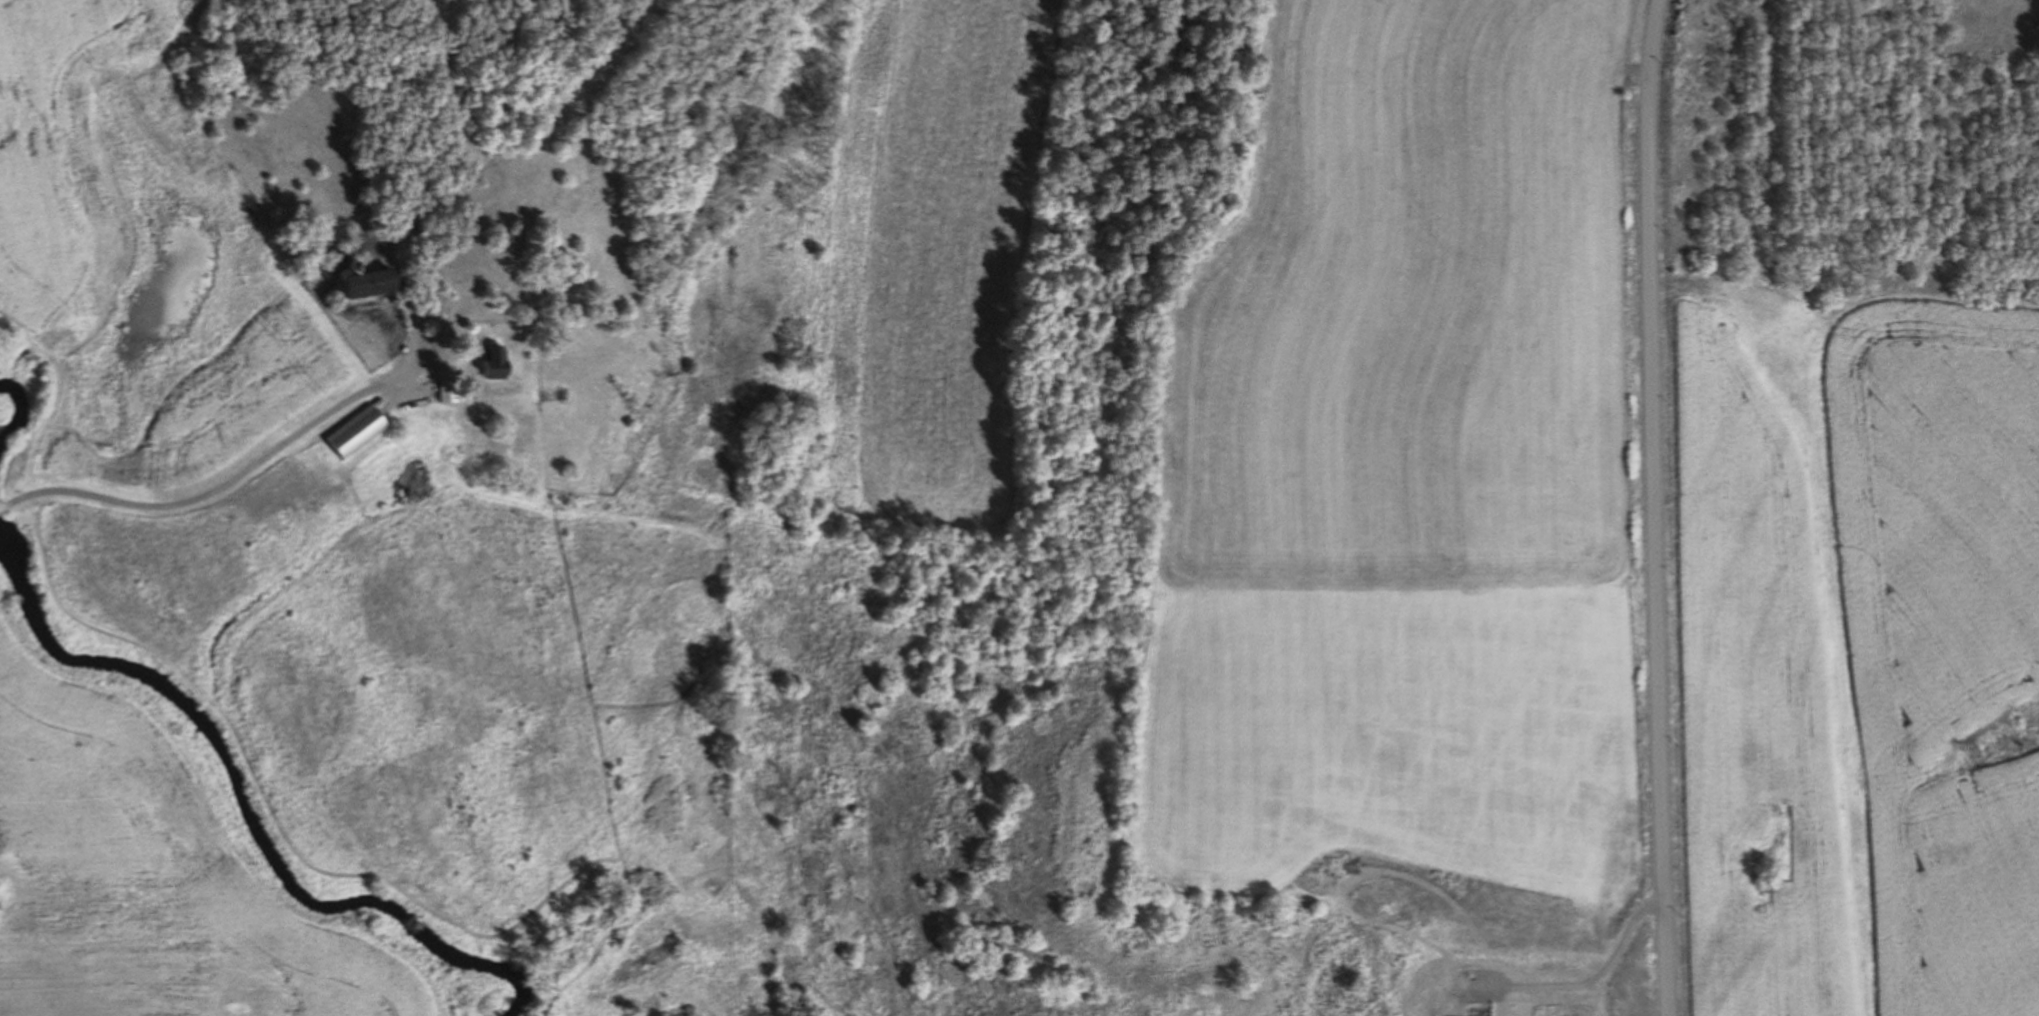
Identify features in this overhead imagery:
building: (376, 284)
building: (500, 363)
building: (450, 391)
building: (556, 394)
river: (26, 400)
building: (359, 431)
road: (207, 465)
road: (1655, 507)
river: (233, 799)
building: (1534, 983)

